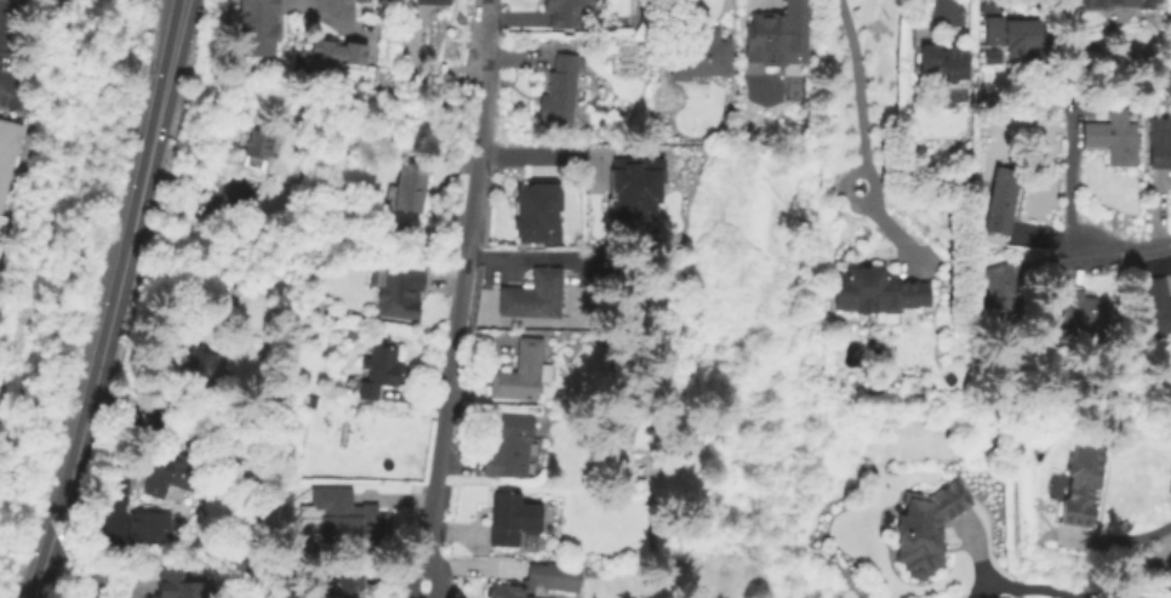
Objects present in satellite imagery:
building: (364, 1)
building: (433, 1)
building: (644, 1)
building: (1086, 5)
building: (569, 10)
building: (258, 27)
building: (776, 28)
building: (1013, 35)
building: (333, 53)
building: (690, 53)
building: (989, 56)
building: (944, 63)
road: (858, 91)
building: (870, 91)
building: (559, 92)
building: (1113, 137)
building: (1159, 142)
building: (6, 148)
building: (257, 149)
road: (542, 154)
building: (411, 187)
building: (633, 187)
building: (1001, 200)
building: (535, 211)
building: (0, 217)
road: (1115, 249)
building: (257, 280)
building: (1003, 289)
building: (878, 290)
building: (401, 294)
building: (533, 296)
road: (458, 298)
road: (113, 301)
building: (1155, 307)
building: (1084, 311)
building: (353, 332)
building: (200, 361)
building: (378, 371)
building: (521, 374)
building: (312, 400)
building: (628, 418)
building: (513, 445)
building: (162, 475)
building: (1081, 483)
building: (320, 489)
building: (355, 514)
building: (513, 519)
building: (149, 525)
building: (926, 526)
road: (112, 530)
road: (1127, 540)
building: (537, 579)
building: (339, 583)
building: (176, 585)
road: (1010, 587)

